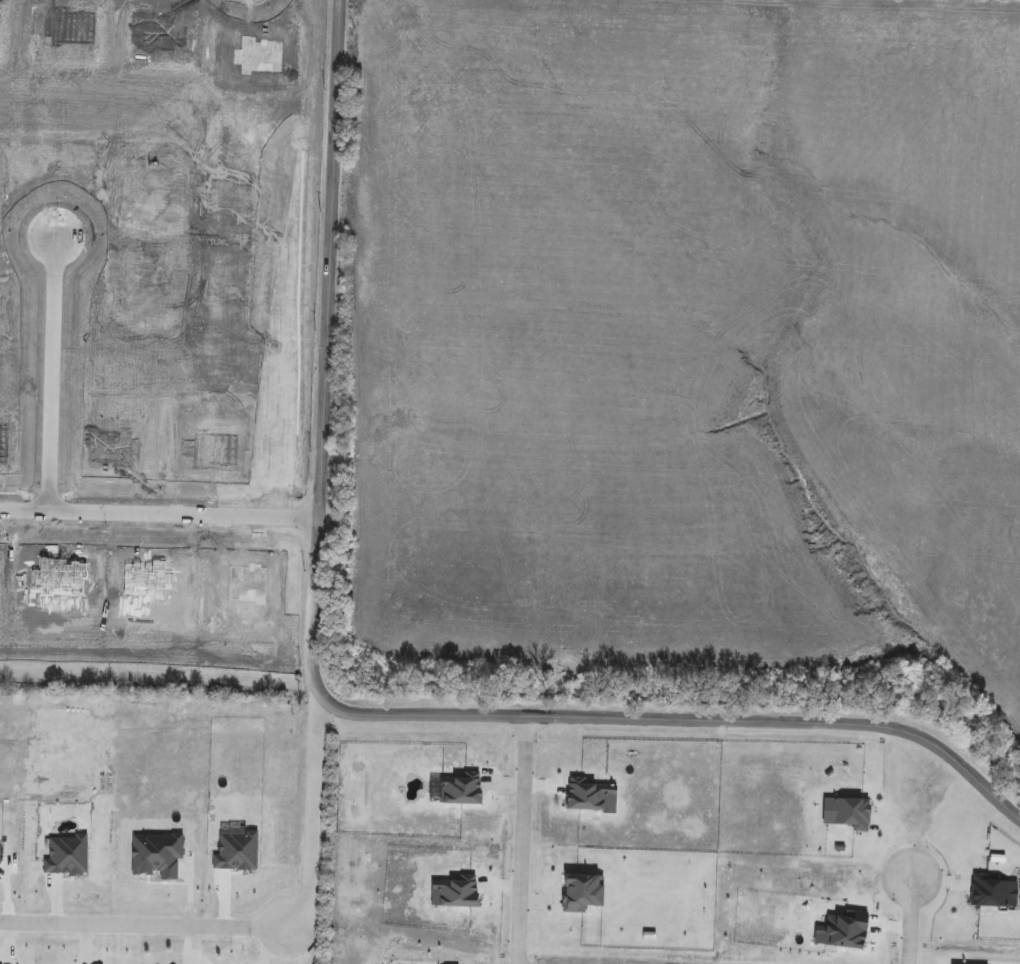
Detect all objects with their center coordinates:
road: (51, 374)
road: (159, 514)
road: (336, 707)
road: (311, 815)
road: (521, 838)
building: (232, 852)
building: (63, 856)
building: (153, 859)
road: (907, 916)
road: (142, 924)

